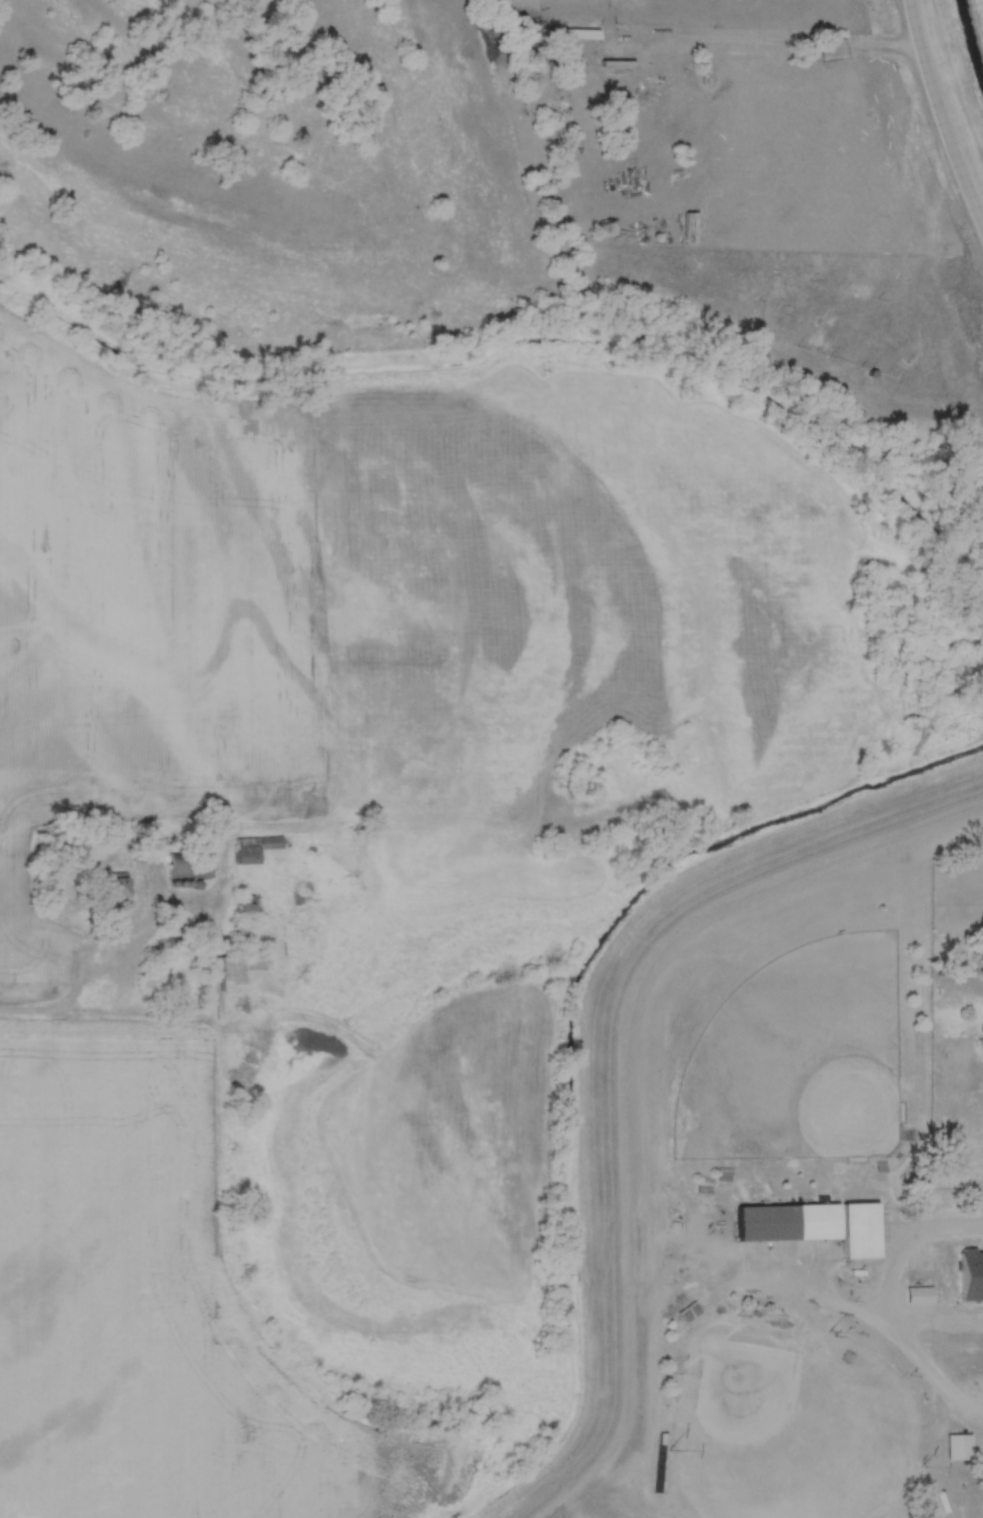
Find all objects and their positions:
road: (738, 41)
road: (940, 117)
building: (254, 849)
building: (190, 865)
building: (114, 886)
building: (303, 897)
building: (247, 907)
road: (91, 944)
building: (980, 1049)
building: (768, 1221)
building: (861, 1228)
building: (972, 1277)
road: (806, 1296)
building: (920, 1297)
road: (889, 1310)
park: (789, 1425)
building: (959, 1448)

